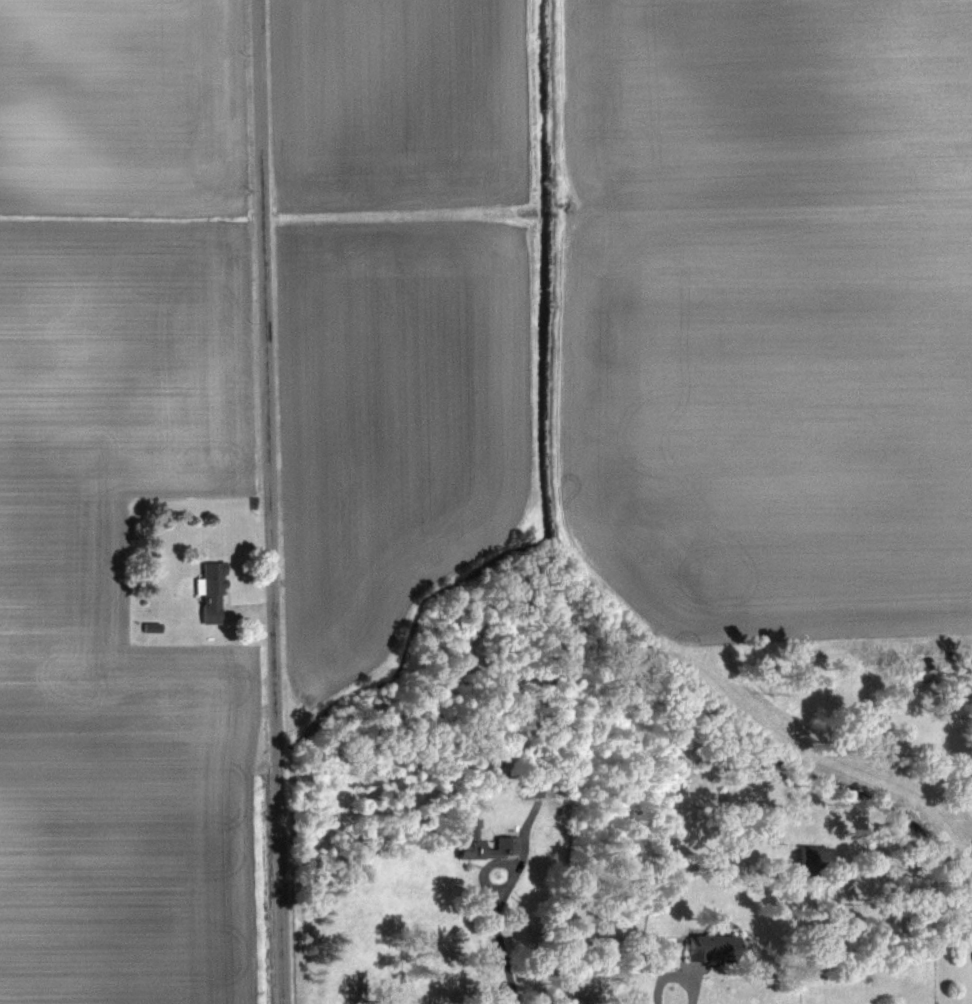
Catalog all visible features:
road: (269, 502)
building: (211, 592)
building: (467, 849)
road: (677, 984)

